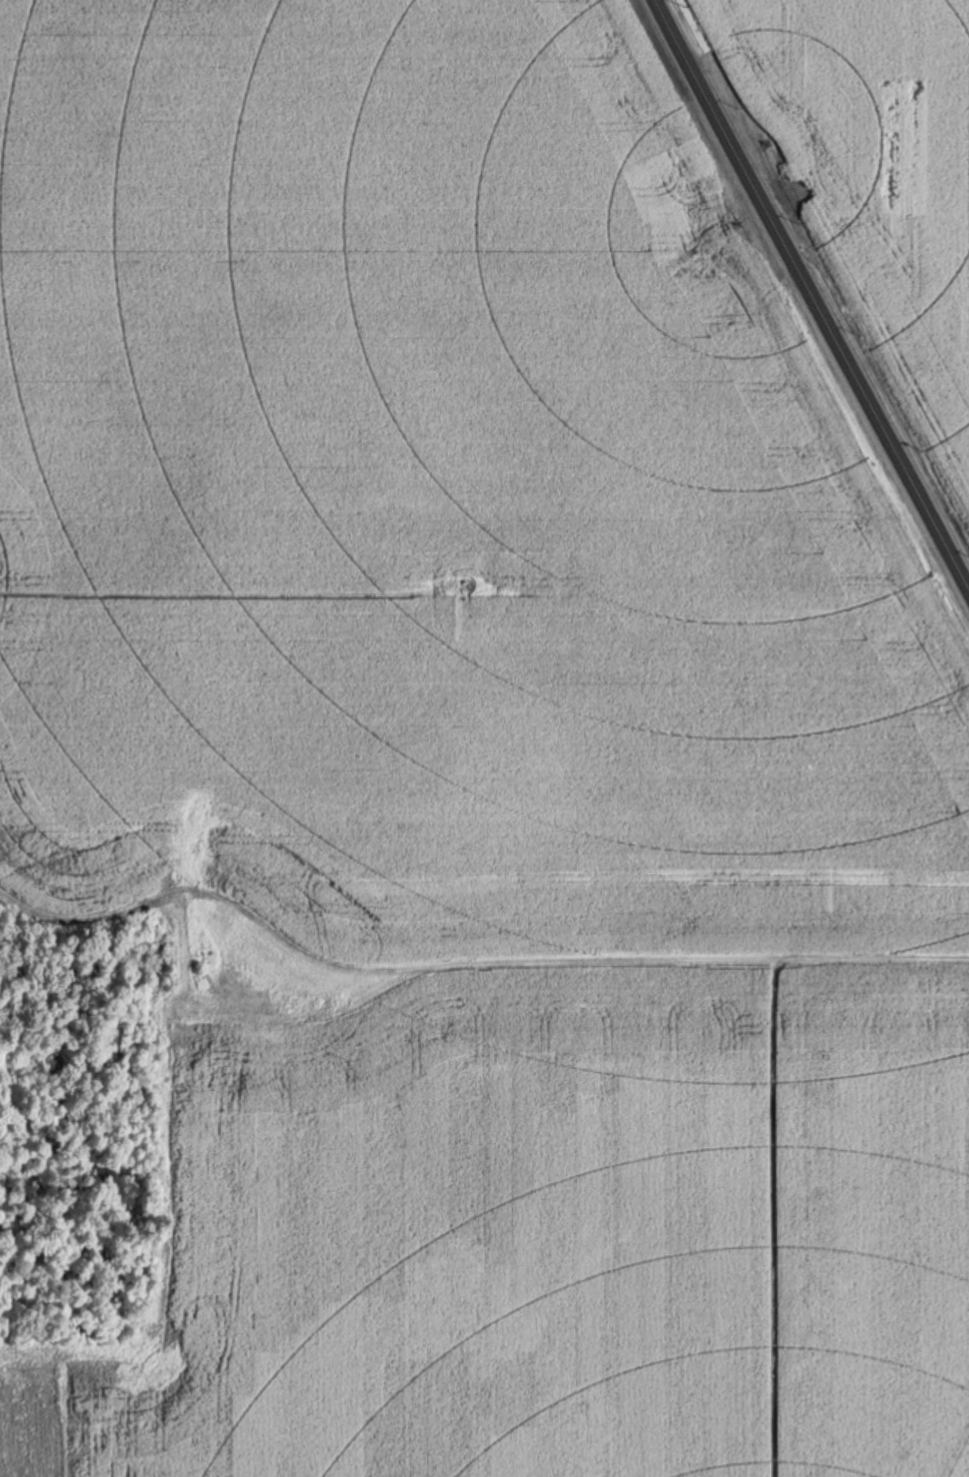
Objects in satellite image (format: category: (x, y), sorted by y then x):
road: (811, 291)

